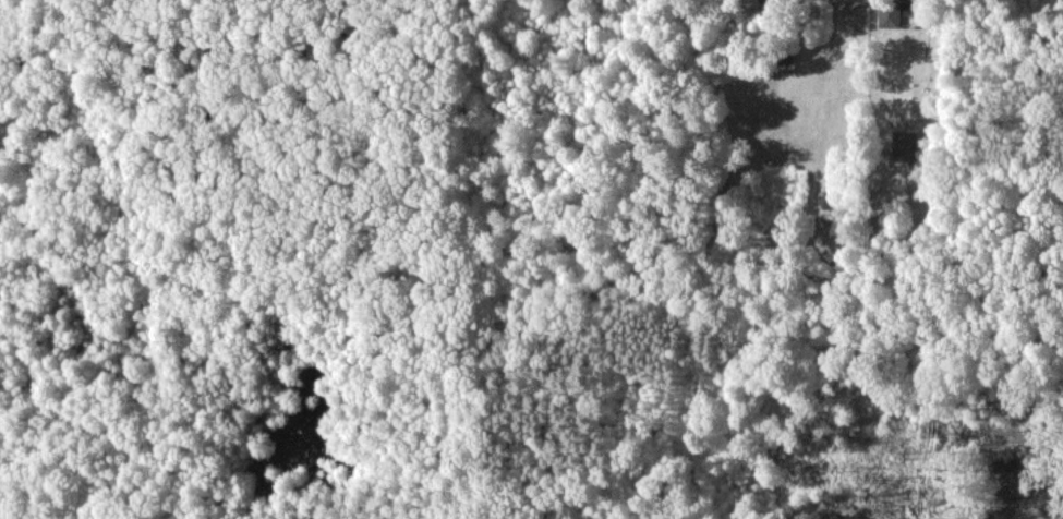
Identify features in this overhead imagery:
building: (899, 11)
building: (904, 145)

